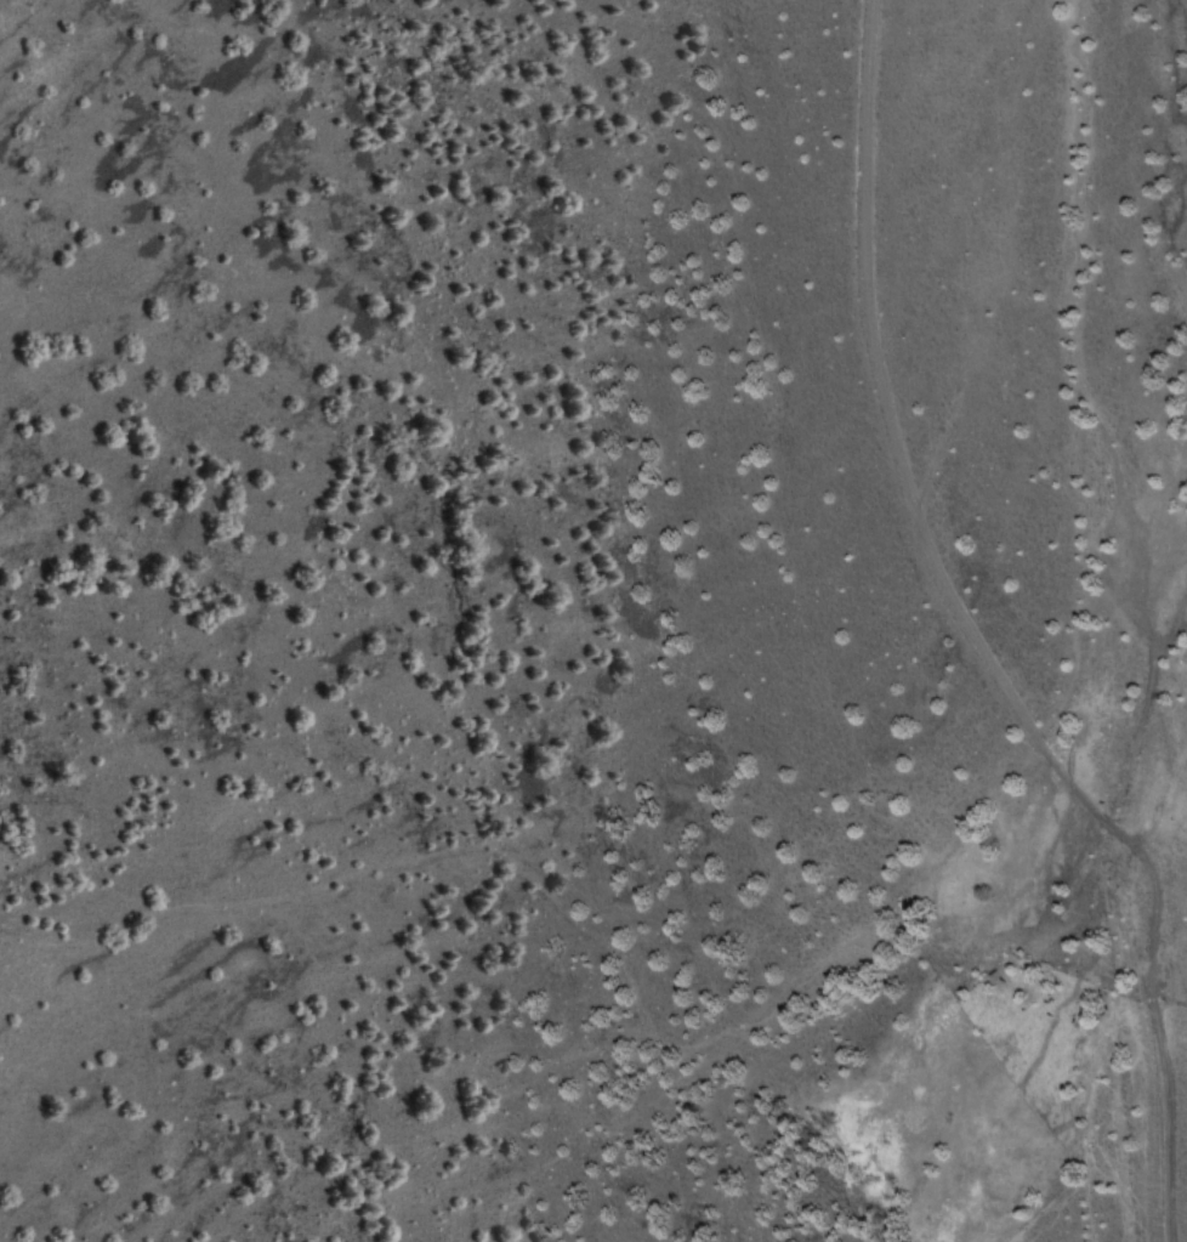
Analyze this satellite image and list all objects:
road: (984, 640)
road: (1164, 792)

